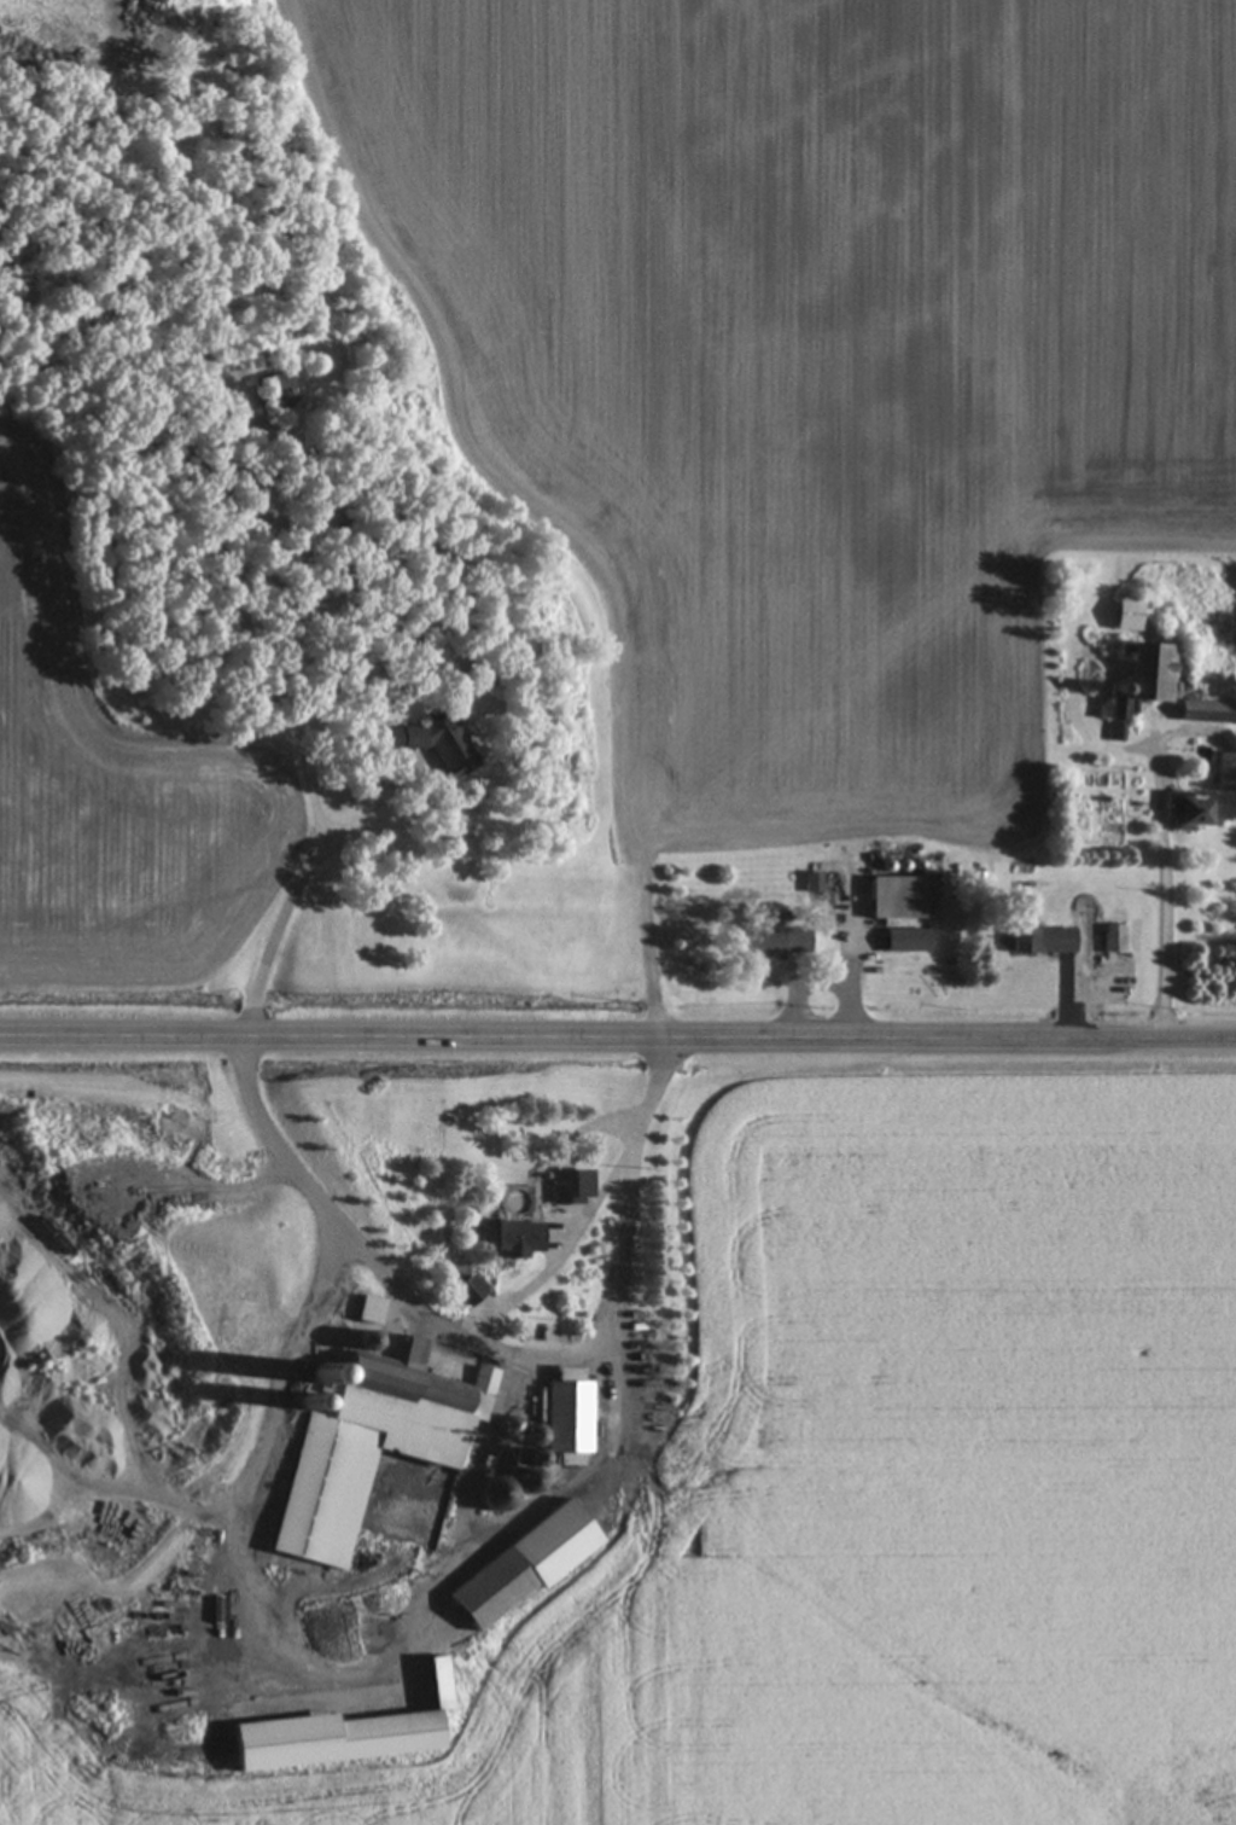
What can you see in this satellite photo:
building: (275, 393)
building: (1130, 616)
building: (1144, 685)
building: (1208, 713)
building: (437, 749)
road: (310, 769)
building: (1228, 774)
building: (1191, 814)
road: (1167, 871)
building: (815, 884)
building: (899, 899)
building: (775, 936)
building: (1114, 940)
building: (909, 941)
building: (1044, 942)
road: (852, 973)
road: (617, 1051)
building: (572, 1186)
building: (509, 1238)
building: (371, 1310)
road: (455, 1323)
building: (571, 1417)
building: (536, 1445)
quarry: (256, 1446)
building: (378, 1451)
building: (499, 1493)
building: (525, 1565)

